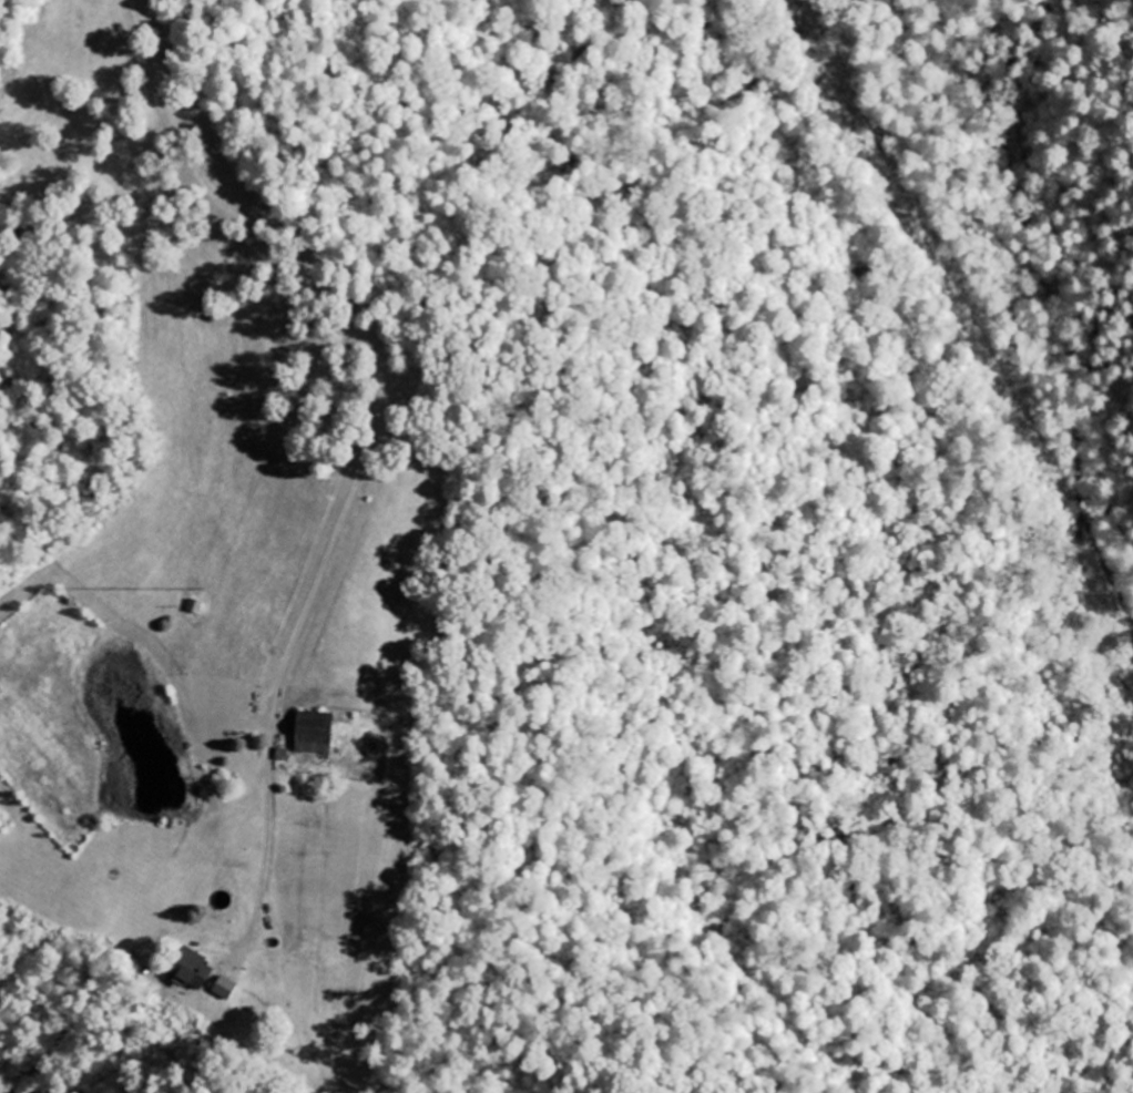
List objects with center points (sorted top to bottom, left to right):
building: (315, 729)
building: (193, 971)

